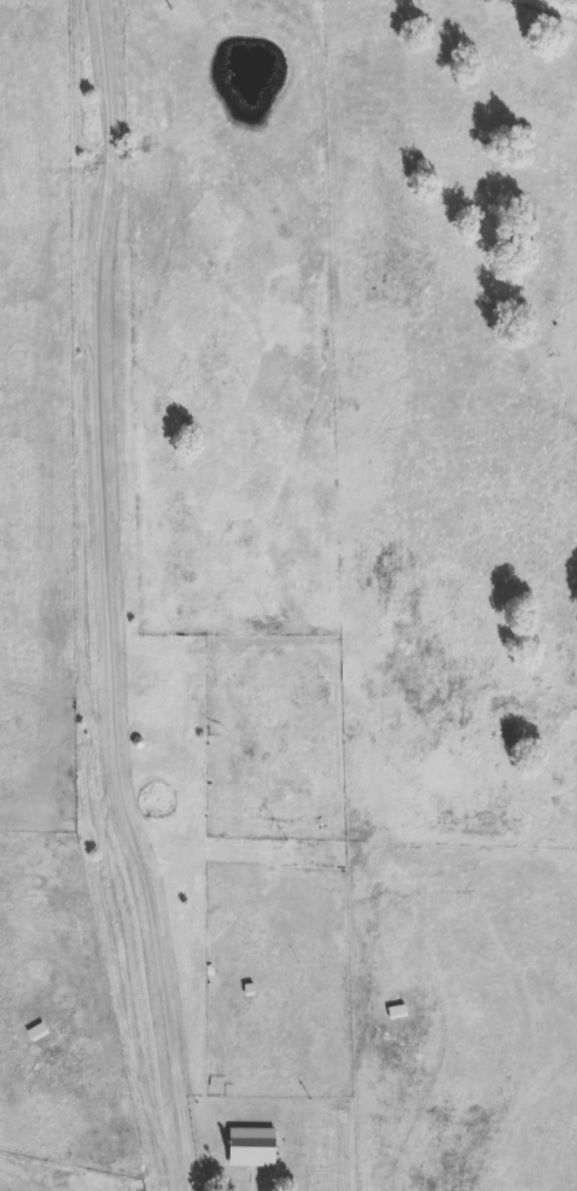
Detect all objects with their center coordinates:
building: (210, 378)
road: (112, 598)
building: (400, 1006)
building: (40, 1033)
building: (257, 1156)
building: (64, 1189)

